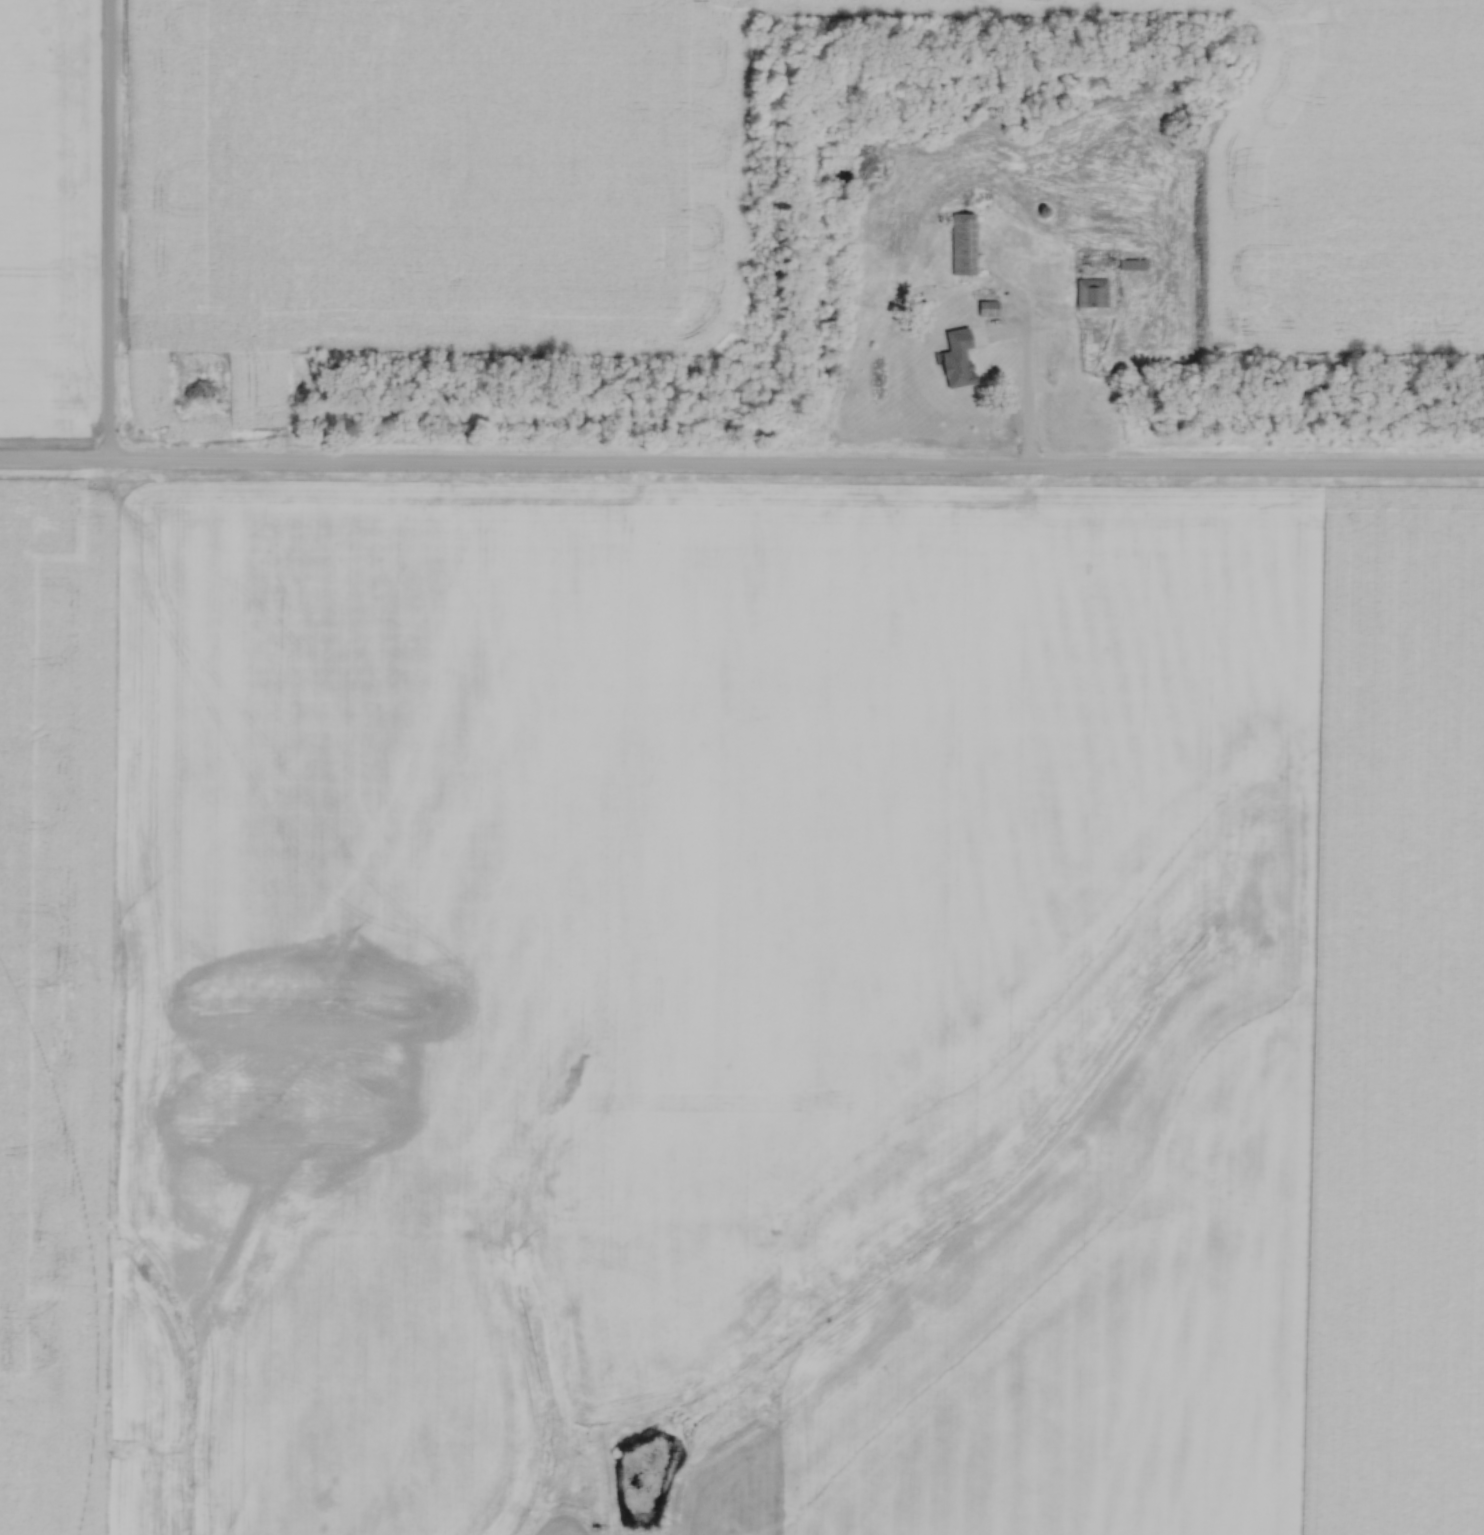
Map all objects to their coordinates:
road: (106, 232)
building: (962, 246)
building: (1132, 266)
building: (1091, 294)
building: (986, 310)
building: (986, 367)
road: (1025, 392)
road: (741, 468)

